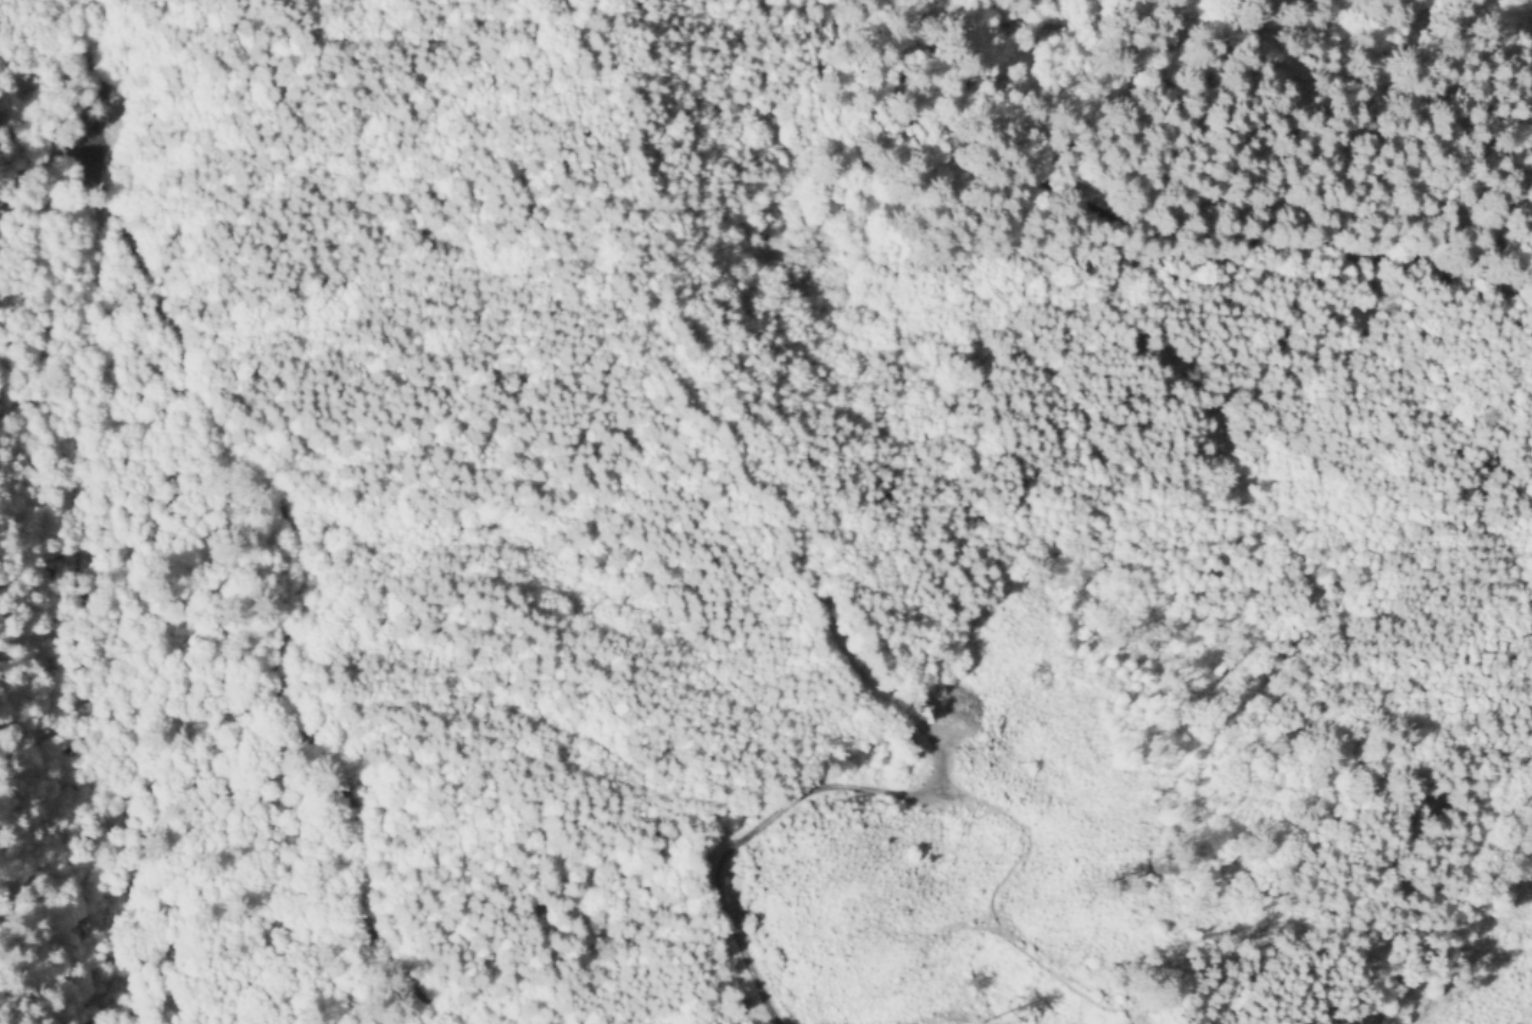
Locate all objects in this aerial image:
road: (1020, 148)
road: (1356, 245)

